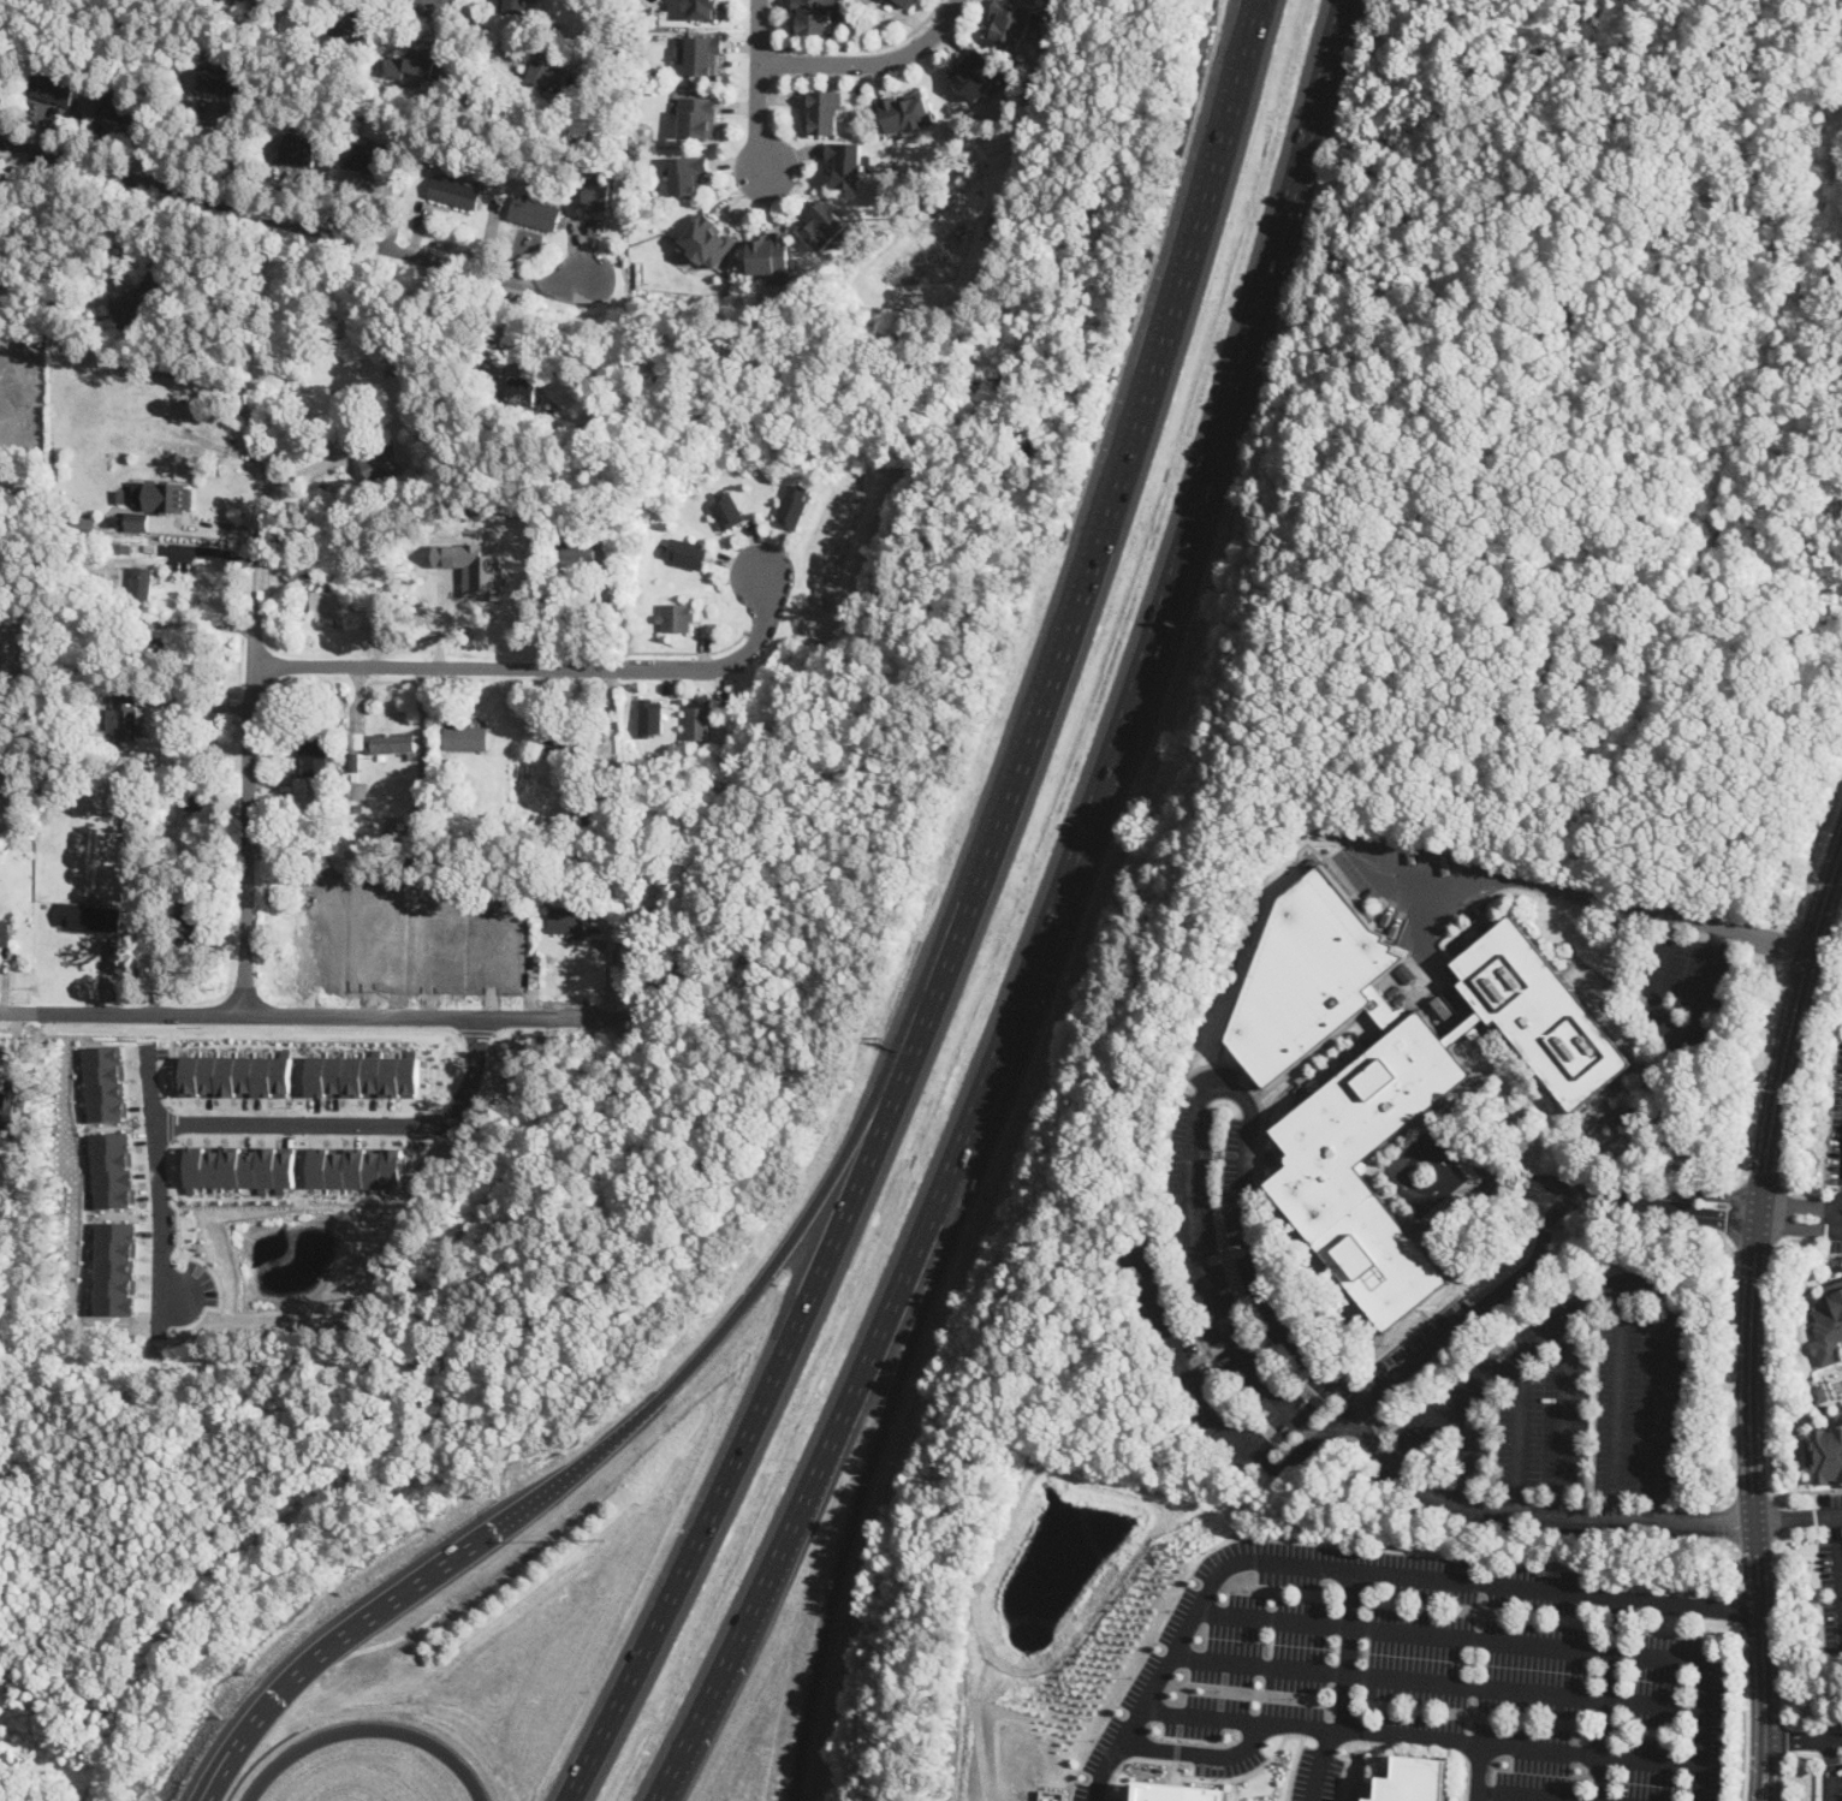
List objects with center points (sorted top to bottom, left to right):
building: (908, 2)
building: (515, 6)
building: (701, 8)
building: (814, 14)
building: (604, 19)
building: (1010, 20)
road: (481, 28)
building: (346, 32)
road: (845, 49)
building: (701, 53)
road: (869, 64)
building: (424, 66)
building: (547, 72)
building: (976, 72)
building: (221, 81)
road: (757, 87)
building: (55, 88)
building: (121, 109)
building: (825, 109)
building: (907, 111)
building: (699, 115)
building: (298, 150)
building: (429, 159)
building: (373, 161)
building: (846, 162)
building: (688, 173)
building: (454, 192)
building: (595, 192)
building: (535, 213)
building: (825, 224)
road: (308, 225)
building: (707, 240)
building: (773, 255)
building: (136, 302)
building: (222, 339)
building: (522, 391)
building: (186, 411)
building: (380, 463)
building: (167, 497)
building: (355, 505)
building: (795, 505)
building: (727, 509)
building: (162, 518)
building: (610, 518)
building: (137, 519)
building: (114, 521)
building: (151, 546)
road: (1094, 549)
building: (121, 551)
road: (259, 551)
building: (685, 552)
building: (577, 554)
building: (473, 566)
building: (139, 582)
building: (329, 605)
building: (678, 616)
building: (117, 622)
building: (148, 649)
road: (695, 652)
road: (543, 667)
building: (344, 693)
building: (79, 705)
road: (192, 706)
building: (652, 715)
building: (701, 717)
building: (327, 718)
building: (127, 725)
building: (177, 731)
building: (465, 737)
building: (356, 739)
building: (91, 742)
building: (568, 742)
building: (391, 744)
building: (314, 754)
building: (353, 762)
building: (355, 777)
building: (301, 784)
building: (357, 791)
building: (179, 792)
building: (198, 795)
building: (358, 808)
building: (370, 821)
road: (248, 822)
building: (539, 822)
building: (588, 822)
building: (132, 825)
building: (388, 827)
building: (305, 848)
building: (132, 849)
building: (565, 850)
road: (1817, 854)
building: (463, 857)
building: (355, 858)
building: (537, 858)
building: (410, 861)
building: (303, 882)
road: (1437, 886)
road: (612, 888)
building: (172, 904)
building: (89, 915)
building: (409, 915)
road: (1663, 915)
building: (196, 917)
building: (569, 921)
road: (1059, 922)
building: (309, 926)
building: (5, 933)
road: (1788, 945)
building: (1307, 974)
parking lot: (1683, 989)
road: (305, 1014)
road: (1790, 1028)
road: (477, 1032)
road: (518, 1032)
road: (458, 1033)
road: (1678, 1036)
road: (464, 1050)
road: (1802, 1065)
building: (238, 1075)
road: (1759, 1075)
building: (363, 1076)
building: (103, 1083)
road: (1205, 1092)
building: (8, 1108)
road: (1546, 1110)
building: (1347, 1122)
road: (170, 1123)
road: (356, 1124)
parking lot: (1836, 1129)
building: (1691, 1148)
building: (242, 1165)
building: (358, 1166)
road: (1397, 1169)
building: (112, 1170)
building: (13, 1172)
road: (156, 1185)
road: (1574, 1189)
road: (1606, 1194)
road: (1731, 1209)
road: (1782, 1212)
road: (1800, 1218)
road: (1545, 1222)
road: (1573, 1225)
road: (190, 1226)
parking lot: (1836, 1226)
road: (1812, 1243)
road: (190, 1255)
road: (1603, 1266)
building: (115, 1267)
road: (1644, 1267)
road: (1476, 1294)
parking lot: (1231, 1300)
building: (1825, 1322)
road: (1449, 1336)
parking lot: (1419, 1347)
road: (1730, 1362)
road: (1497, 1372)
road: (1770, 1375)
building: (1819, 1393)
road: (1617, 1397)
road: (1210, 1408)
road: (1564, 1414)
parking lot: (1564, 1419)
road: (1521, 1431)
road: (741, 1448)
road: (1466, 1450)
building: (1828, 1454)
road: (578, 1470)
road: (1749, 1476)
road: (862, 1488)
road: (1807, 1490)
parking lot: (1831, 1511)
road: (1782, 1518)
road: (1796, 1518)
road: (1706, 1520)
road: (1731, 1520)
road: (1778, 1538)
road: (1838, 1556)
road: (1288, 1562)
road: (1736, 1567)
parking lot: (1835, 1598)
road: (1740, 1610)
road: (1617, 1629)
road: (1475, 1639)
parking lot: (1428, 1674)
road: (1439, 1682)
road: (1743, 1714)
road: (1248, 1719)
road: (366, 1728)
road: (1836, 1738)
road: (1798, 1741)
road: (1475, 1742)
road: (1199, 1753)
road: (1802, 1758)
road: (1830, 1758)
road: (1268, 1760)
road: (1125, 1761)
road: (1320, 1765)
road: (1829, 1770)
road: (1478, 1771)
road: (1764, 1771)
parking lot: (1318, 1772)
building: (1414, 1779)
road: (1342, 1781)
parking lot: (1831, 1783)
road: (1701, 1784)
parking lot: (1092, 1789)
road: (1236, 1790)
building: (1178, 1793)
road: (1528, 1794)
building: (1053, 1795)

